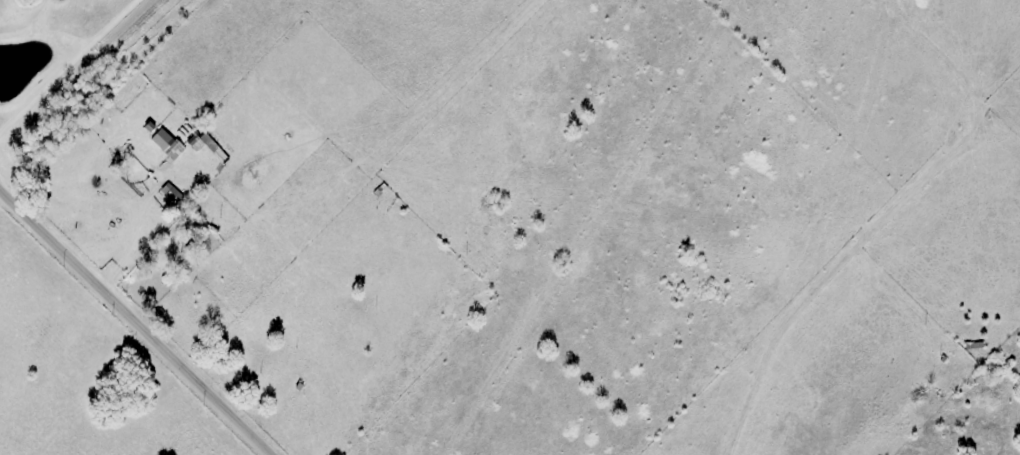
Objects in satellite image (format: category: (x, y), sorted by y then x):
building: (162, 140)
building: (200, 141)
road: (140, 318)

